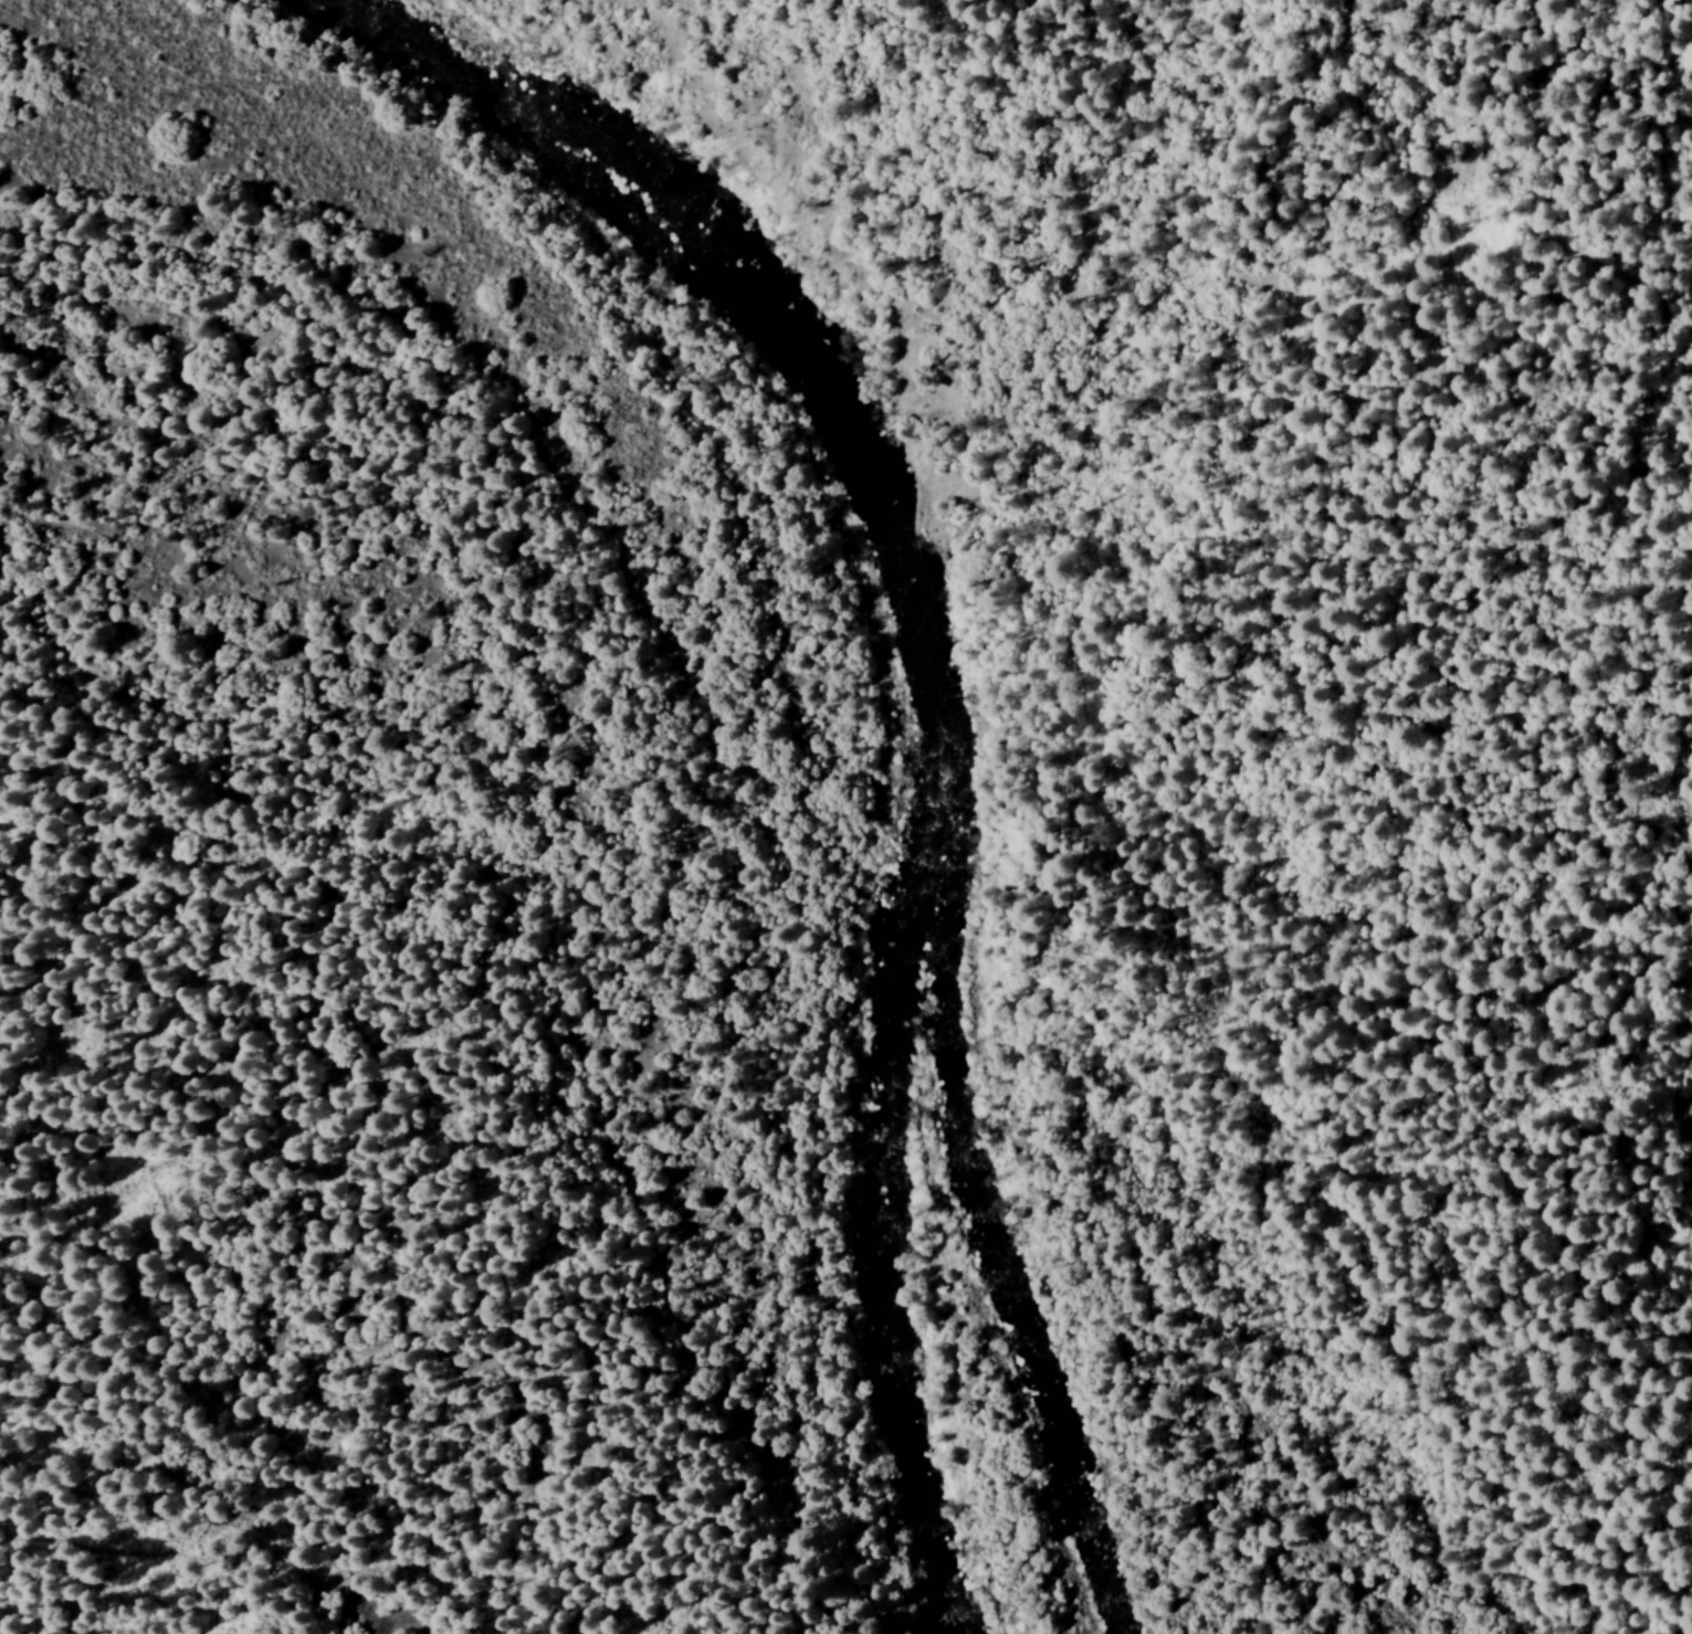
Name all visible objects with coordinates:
road: (242, 129)
river: (908, 674)
road: (209, 791)
road: (333, 1545)

